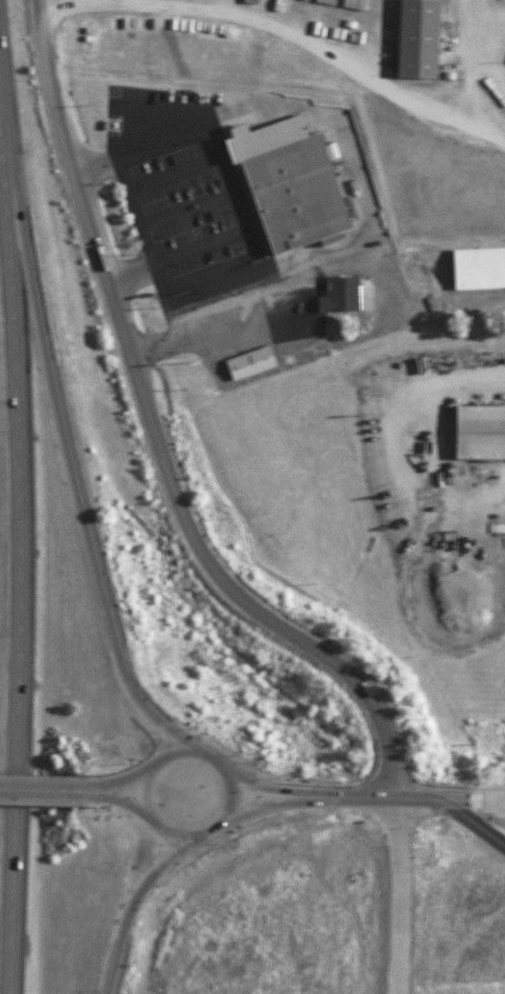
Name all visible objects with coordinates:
building: (247, 1)
road: (282, 32)
building: (414, 38)
parking lot: (162, 110)
building: (287, 181)
road: (235, 201)
parking lot: (186, 210)
building: (477, 268)
building: (345, 292)
parking lot: (292, 305)
road: (181, 345)
building: (248, 363)
building: (477, 433)
road: (153, 438)
road: (434, 438)
road: (72, 464)
road: (15, 579)
road: (128, 776)
road: (261, 784)
road: (49, 790)
road: (145, 791)
road: (122, 801)
road: (262, 804)
road: (399, 804)
road: (398, 899)
road: (128, 905)
gas station: (503, 928)

